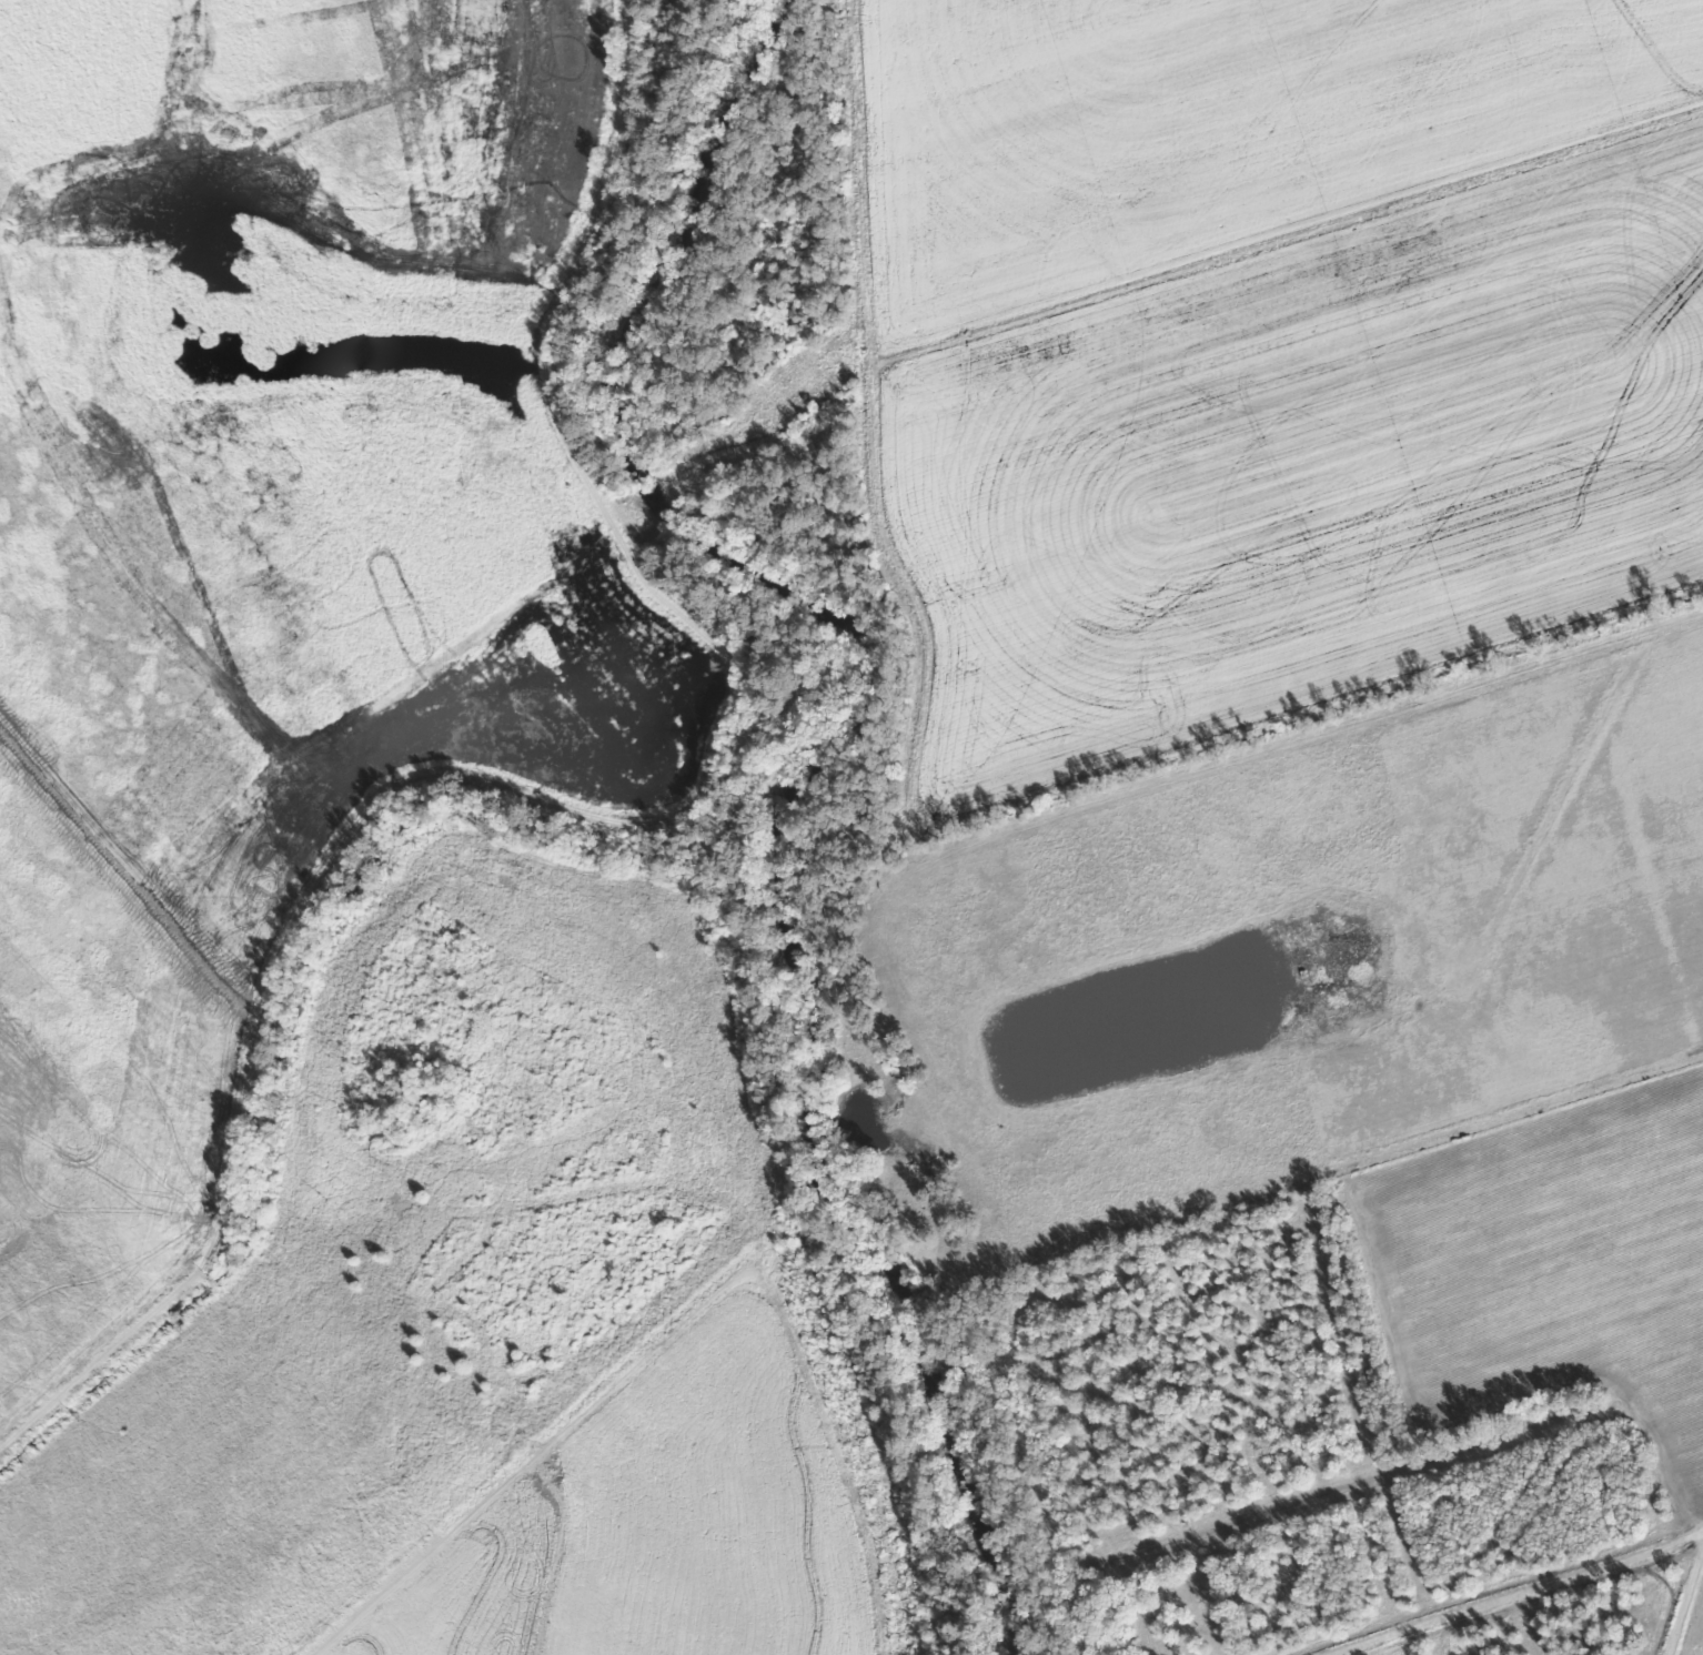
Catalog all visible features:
road: (1552, 820)

